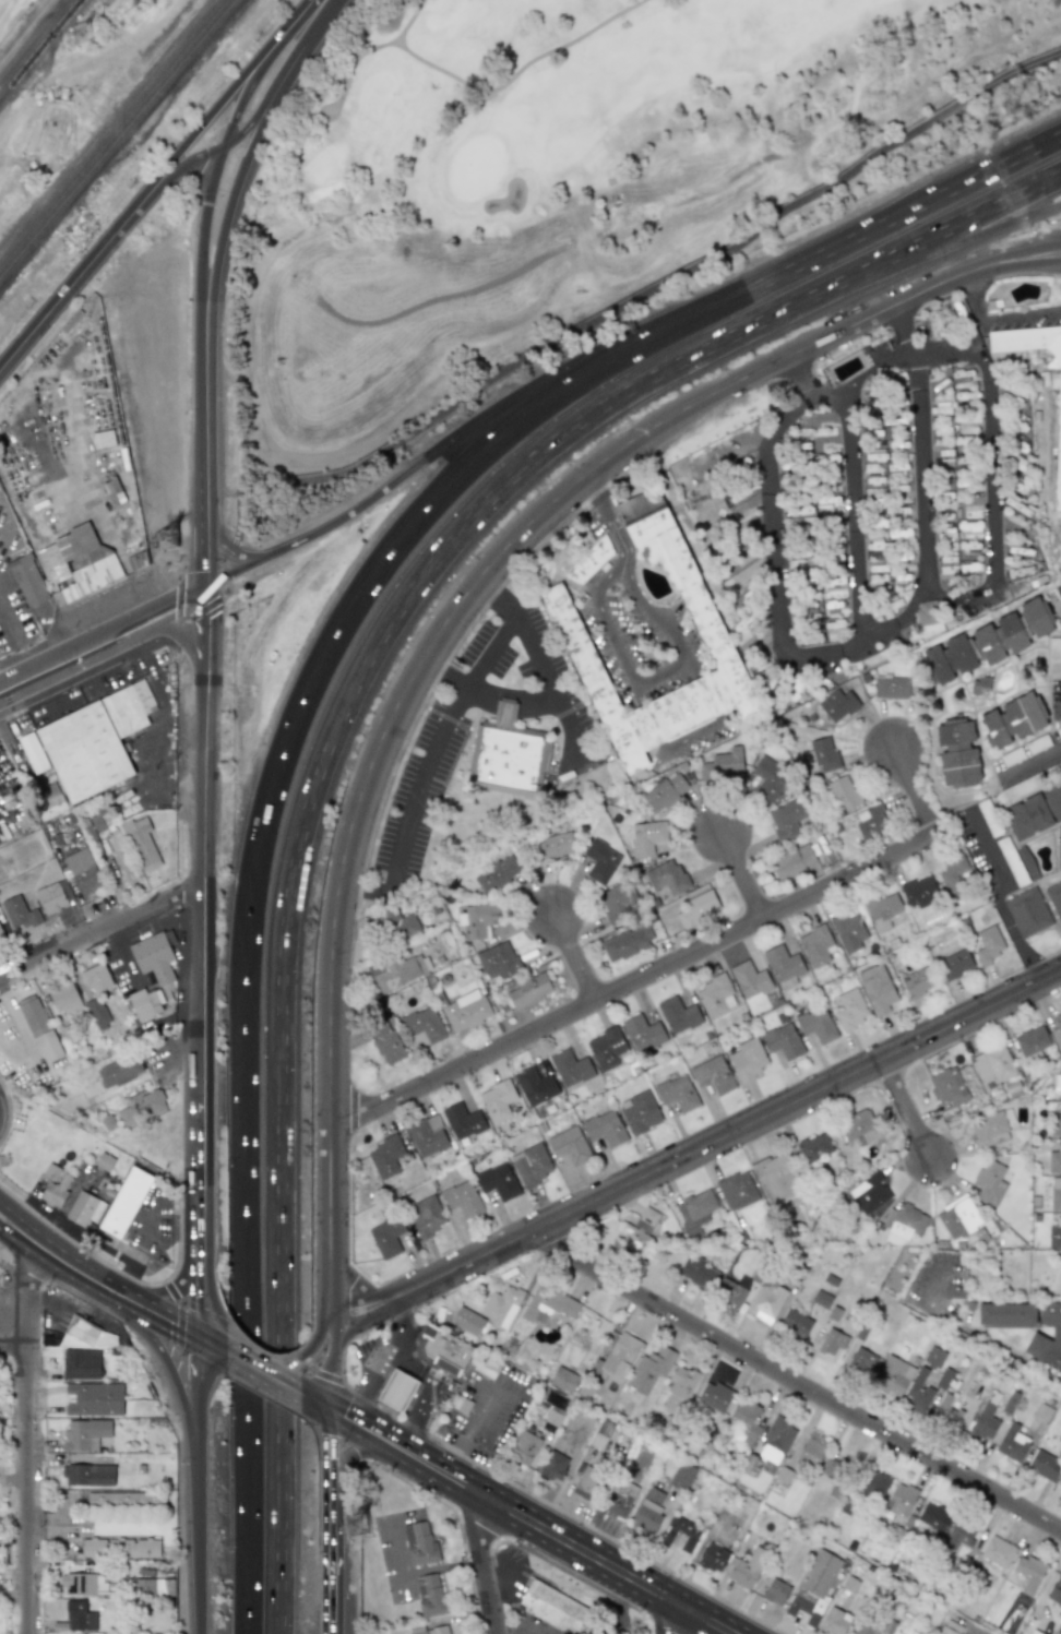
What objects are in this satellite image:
road: (291, 22)
road: (314, 28)
power tower: (88, 32)
railway: (32, 39)
railway: (38, 48)
road: (245, 92)
road: (262, 103)
road: (204, 119)
railway: (112, 133)
railway: (119, 141)
park: (569, 151)
road: (179, 167)
road: (235, 184)
road: (920, 203)
road: (991, 207)
road: (992, 228)
road: (202, 231)
road: (1011, 259)
road: (1012, 274)
road: (71, 286)
road: (970, 296)
road: (630, 300)
road: (1020, 314)
road: (902, 327)
road: (800, 348)
building: (963, 375)
road: (797, 377)
building: (890, 378)
building: (941, 380)
road: (509, 402)
building: (966, 407)
road: (204, 424)
building: (103, 439)
building: (1059, 449)
road: (989, 472)
building: (1017, 488)
building: (797, 506)
road: (605, 509)
road: (853, 516)
building: (801, 532)
building: (899, 535)
power tower: (174, 538)
road: (225, 548)
road: (203, 557)
building: (591, 560)
building: (80, 563)
road: (609, 570)
road: (629, 572)
road: (229, 575)
building: (27, 580)
building: (1060, 584)
road: (169, 606)
building: (883, 606)
building: (834, 607)
road: (647, 610)
building: (927, 612)
road: (204, 627)
road: (177, 629)
building: (710, 631)
road: (19, 636)
road: (429, 641)
building: (989, 642)
road: (450, 654)
road: (788, 655)
road: (68, 656)
road: (476, 665)
road: (442, 671)
road: (636, 681)
road: (479, 687)
building: (891, 687)
building: (837, 704)
building: (1013, 720)
road: (572, 723)
building: (95, 741)
building: (33, 753)
building: (506, 753)
building: (958, 753)
building: (824, 755)
road: (1032, 760)
building: (720, 763)
building: (768, 779)
road: (317, 789)
building: (665, 791)
building: (843, 792)
road: (913, 792)
building: (1053, 800)
building: (1028, 816)
building: (786, 819)
building: (871, 820)
road: (261, 836)
building: (646, 836)
building: (141, 842)
building: (555, 846)
building: (1059, 847)
road: (991, 855)
building: (600, 861)
building: (792, 861)
building: (83, 871)
building: (497, 873)
road: (739, 874)
building: (665, 878)
building: (951, 878)
building: (919, 891)
building: (55, 896)
building: (1054, 898)
building: (619, 899)
building: (698, 908)
building: (882, 910)
building: (1027, 911)
building: (19, 914)
building: (479, 919)
building: (398, 925)
road: (99, 929)
building: (848, 931)
building: (0, 934)
building: (944, 939)
road: (1016, 939)
building: (988, 943)
building: (624, 944)
building: (815, 945)
building: (155, 956)
road: (572, 956)
building: (499, 962)
building: (782, 963)
building: (955, 963)
building: (395, 971)
building: (95, 979)
building: (750, 979)
road: (631, 980)
building: (917, 982)
building: (877, 988)
building: (528, 991)
building: (715, 995)
building: (64, 998)
road: (201, 1000)
building: (145, 1004)
building: (850, 1009)
building: (465, 1011)
building: (97, 1012)
building: (678, 1014)
road: (14, 1016)
building: (816, 1024)
building: (422, 1026)
building: (39, 1028)
building: (1057, 1030)
building: (643, 1033)
building: (783, 1040)
building: (1032, 1040)
building: (386, 1043)
building: (607, 1048)
building: (748, 1059)
building: (993, 1064)
building: (570, 1066)
building: (120, 1071)
building: (713, 1074)
building: (1060, 1080)
building: (534, 1085)
building: (946, 1087)
building: (677, 1093)
building: (497, 1101)
road: (327, 1107)
building: (142, 1108)
road: (903, 1109)
building: (640, 1111)
building: (463, 1121)
building: (437, 1123)
building: (1056, 1124)
building: (605, 1128)
building: (859, 1128)
building: (989, 1129)
road: (729, 1132)
building: (429, 1138)
building: (569, 1145)
building: (813, 1147)
building: (389, 1157)
building: (1054, 1160)
building: (532, 1164)
building: (775, 1176)
building: (500, 1181)
building: (989, 1182)
building: (737, 1190)
building: (56, 1192)
building: (869, 1192)
building: (1056, 1193)
building: (465, 1198)
building: (126, 1202)
building: (696, 1204)
building: (84, 1208)
building: (430, 1217)
building: (957, 1217)
building: (904, 1220)
building: (639, 1233)
building: (1054, 1235)
building: (391, 1236)
building: (894, 1240)
road: (69, 1256)
building: (698, 1272)
road: (69, 1277)
road: (183, 1285)
road: (351, 1295)
road: (388, 1295)
building: (766, 1301)
building: (548, 1303)
building: (501, 1305)
road: (160, 1308)
road: (332, 1313)
building: (1006, 1314)
road: (369, 1317)
road: (401, 1323)
building: (467, 1323)
building: (795, 1324)
road: (156, 1325)
road: (188, 1326)
road: (320, 1329)
road: (969, 1332)
road: (186, 1335)
building: (1036, 1335)
traffic signals: (200, 1337)
building: (832, 1341)
road: (212, 1344)
road: (13, 1346)
building: (443, 1349)
building: (569, 1353)
road: (395, 1355)
building: (620, 1355)
building: (933, 1357)
road: (237, 1358)
road: (200, 1360)
building: (861, 1361)
building: (82, 1363)
road: (274, 1364)
building: (649, 1368)
road: (330, 1371)
building: (892, 1375)
road: (274, 1380)
building: (563, 1380)
road: (795, 1383)
road: (183, 1386)
building: (678, 1387)
building: (396, 1390)
building: (918, 1392)
building: (714, 1396)
building: (95, 1398)
road: (357, 1403)
traffic signals: (327, 1409)
building: (555, 1409)
building: (946, 1410)
building: (1042, 1411)
road: (416, 1419)
building: (746, 1420)
building: (985, 1421)
road: (354, 1423)
building: (86, 1433)
building: (775, 1440)
building: (1012, 1442)
road: (26, 1444)
building: (523, 1446)
building: (812, 1451)
road: (353, 1454)
road: (326, 1457)
building: (553, 1465)
building: (1045, 1465)
building: (826, 1466)
building: (88, 1475)
building: (682, 1476)
road: (509, 1482)
building: (587, 1482)
building: (875, 1484)
building: (619, 1498)
building: (112, 1499)
building: (901, 1499)
road: (200, 1508)
building: (648, 1510)
building: (933, 1516)
power tower: (361, 1525)
building: (680, 1532)
building: (958, 1535)
road: (570, 1543)
building: (421, 1544)
building: (121, 1547)
building: (998, 1551)
building: (713, 1558)
road: (479, 1565)
building: (747, 1567)
road: (333, 1570)
building: (1028, 1573)
building: (79, 1584)
building: (155, 1586)
building: (813, 1586)
building: (1056, 1590)
building: (775, 1591)
building: (430, 1594)
building: (556, 1608)
building: (79, 1617)
road: (664, 1617)
building: (834, 1621)
building: (884, 1626)
building: (951, 1627)
building: (1059, 1629)
building: (438, 1630)
building: (160, 1633)

